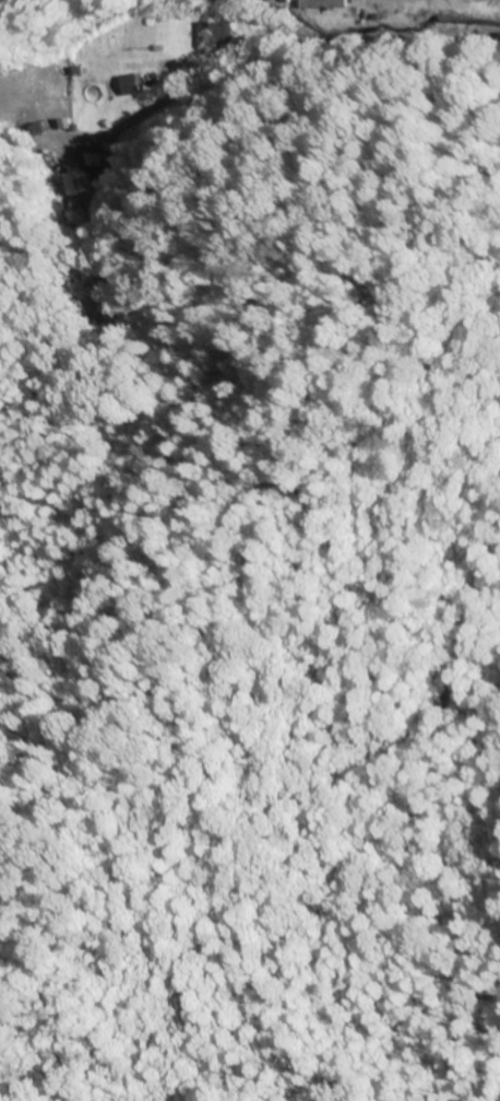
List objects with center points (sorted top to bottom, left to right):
building: (214, 33)
road: (217, 72)
building: (122, 86)

